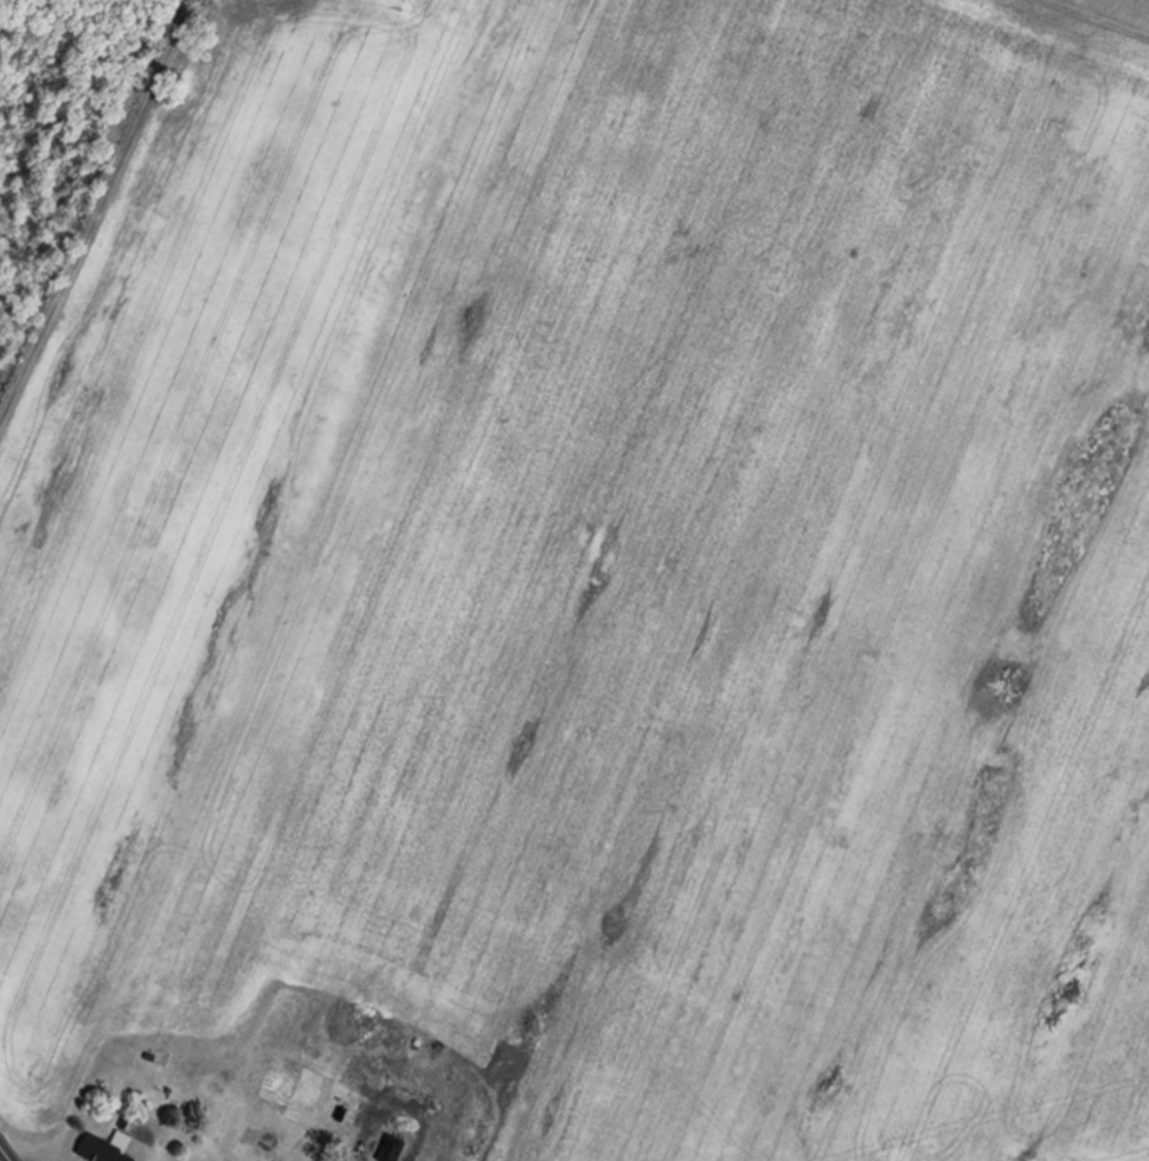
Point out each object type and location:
road: (94, 188)
road: (8, 1149)

